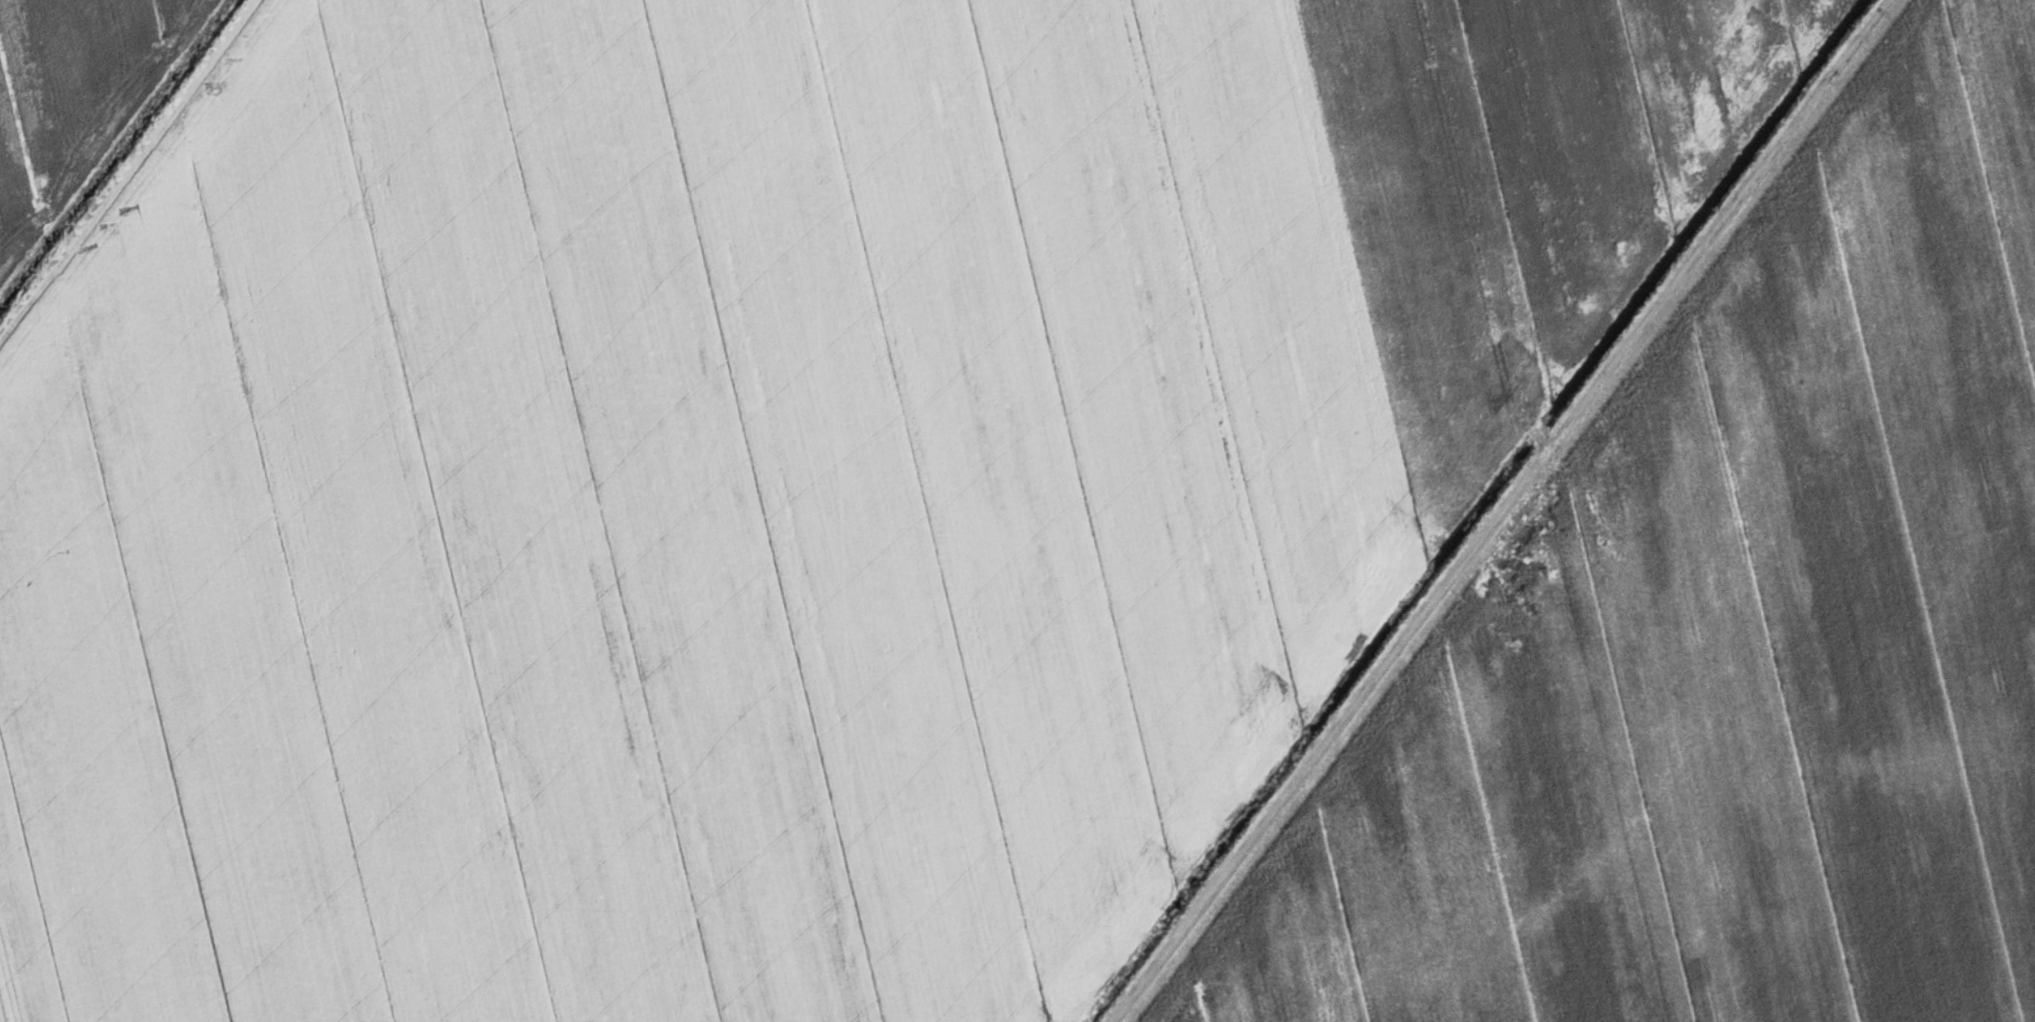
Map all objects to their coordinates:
crop: (73, 96)
road: (127, 167)
crop: (767, 476)
crop: (1722, 635)

